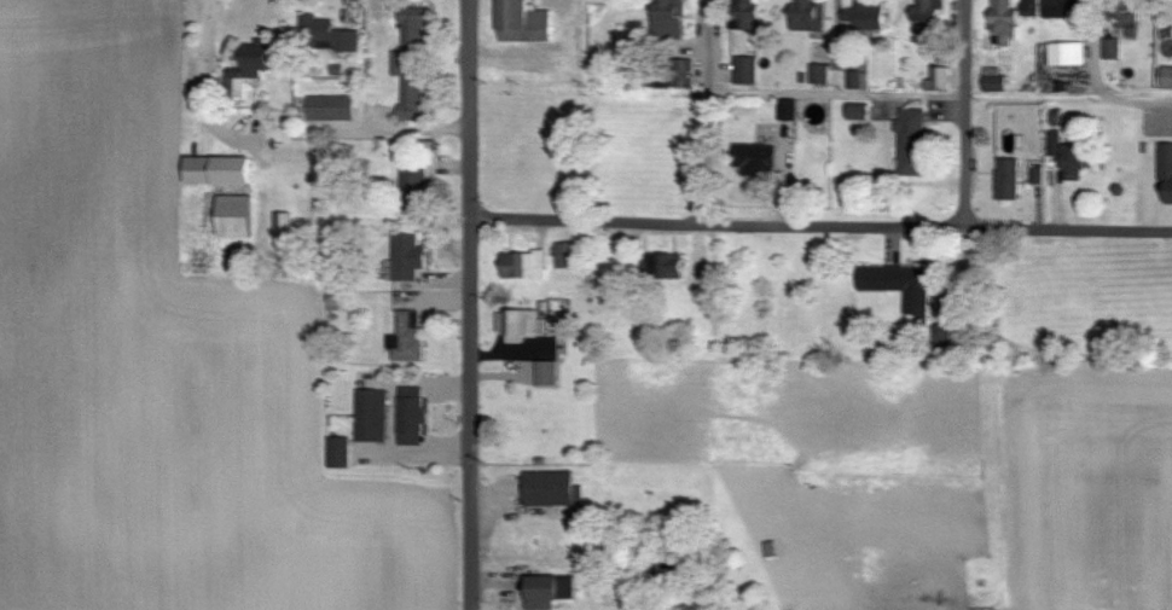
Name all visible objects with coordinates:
building: (1029, 7)
building: (1060, 8)
building: (1118, 12)
building: (744, 14)
building: (806, 14)
building: (868, 14)
building: (668, 18)
building: (926, 21)
building: (1002, 21)
building: (520, 23)
building: (325, 33)
building: (1108, 47)
building: (1064, 52)
building: (262, 57)
building: (411, 64)
building: (743, 70)
building: (680, 72)
building: (1165, 77)
road: (196, 79)
building: (936, 79)
building: (992, 81)
road: (1095, 85)
building: (233, 87)
road: (837, 93)
road: (1032, 94)
building: (330, 109)
road: (406, 124)
building: (909, 141)
road: (707, 152)
road: (964, 156)
building: (753, 158)
building: (1073, 159)
building: (1165, 173)
building: (1005, 179)
building: (411, 187)
building: (222, 191)
road: (819, 226)
building: (280, 228)
building: (568, 255)
building: (405, 257)
building: (522, 266)
building: (663, 266)
building: (895, 285)
road: (469, 304)
building: (518, 325)
building: (406, 335)
building: (545, 372)
building: (369, 414)
building: (408, 416)
building: (336, 452)
building: (550, 488)
building: (547, 591)

